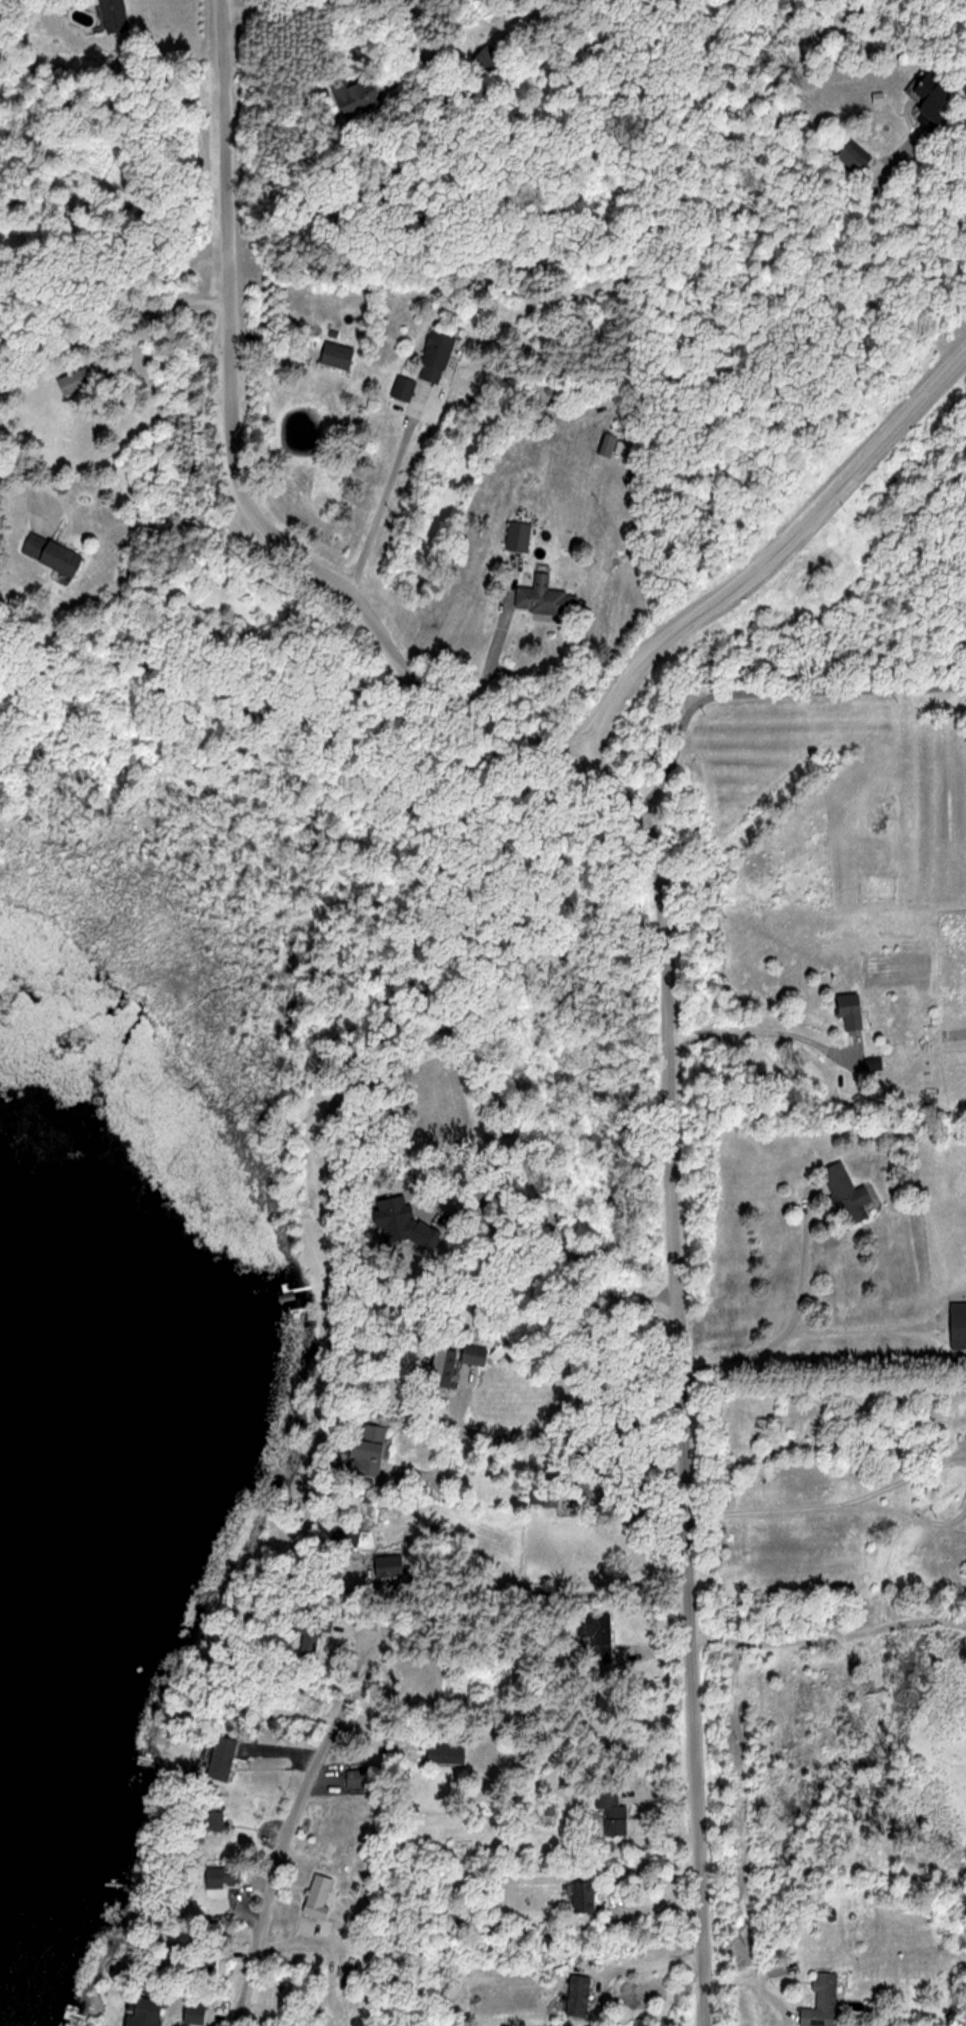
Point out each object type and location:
building: (113, 15)
building: (487, 59)
building: (356, 92)
building: (930, 99)
building: (851, 157)
road: (943, 177)
road: (109, 322)
building: (336, 355)
building: (434, 356)
building: (69, 382)
building: (402, 389)
building: (605, 445)
road: (16, 457)
road: (387, 484)
road: (251, 504)
building: (517, 536)
road: (769, 552)
building: (50, 554)
building: (544, 598)
road: (501, 633)
road: (768, 688)
road: (236, 694)
park: (311, 835)
building: (849, 1009)
road: (752, 1030)
building: (873, 1063)
road: (529, 1165)
building: (845, 1194)
road: (802, 1262)
building: (957, 1325)
road: (857, 1329)
building: (473, 1355)
road: (740, 1355)
building: (441, 1368)
road: (686, 1420)
road: (577, 1422)
building: (368, 1449)
building: (542, 1499)
road: (832, 1506)
building: (344, 1536)
building: (306, 1630)
building: (595, 1636)
road: (832, 1638)
building: (444, 1754)
building: (221, 1758)
building: (354, 1779)
road: (310, 1797)
building: (610, 1810)
building: (210, 1822)
building: (211, 1878)
building: (318, 1893)
building: (582, 1898)
road: (649, 1954)
building: (581, 1995)
building: (825, 2001)
building: (148, 2012)
building: (198, 2013)

